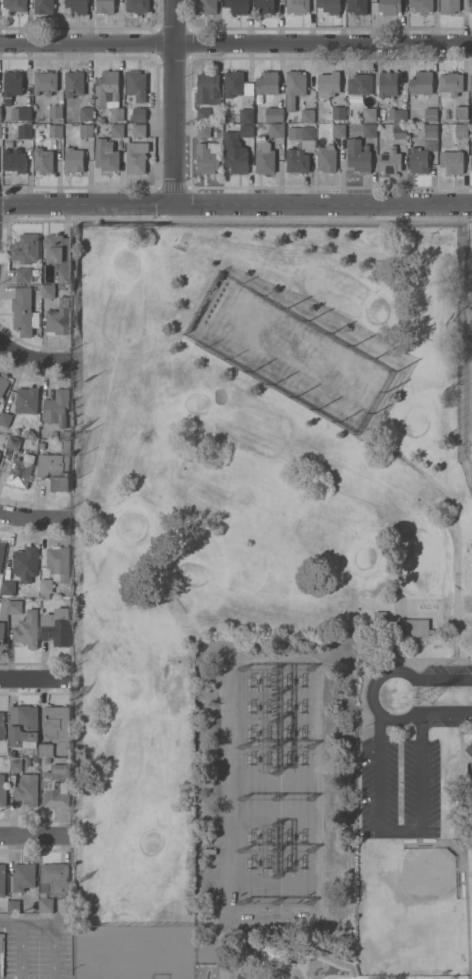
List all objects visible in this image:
building: (15, 5)
building: (78, 6)
building: (105, 6)
building: (138, 6)
building: (206, 6)
building: (265, 6)
building: (297, 6)
building: (329, 6)
building: (360, 6)
building: (389, 6)
building: (422, 6)
building: (449, 6)
building: (471, 6)
building: (44, 7)
building: (237, 7)
road: (236, 42)
building: (46, 82)
building: (421, 83)
building: (74, 84)
building: (233, 84)
building: (329, 84)
building: (359, 84)
building: (387, 84)
building: (451, 84)
building: (136, 85)
building: (12, 86)
building: (471, 86)
building: (207, 87)
building: (248, 88)
building: (265, 88)
building: (295, 88)
building: (109, 94)
road: (173, 101)
building: (55, 111)
building: (461, 112)
building: (339, 113)
building: (0, 114)
building: (21, 114)
building: (86, 114)
building: (139, 114)
building: (203, 114)
building: (275, 114)
building: (369, 114)
building: (430, 114)
building: (246, 115)
building: (307, 115)
building: (397, 115)
building: (101, 119)
building: (246, 130)
building: (339, 130)
building: (369, 130)
building: (460, 130)
building: (56, 131)
building: (86, 131)
building: (117, 131)
building: (134, 131)
building: (204, 131)
building: (277, 131)
building: (0, 132)
building: (24, 132)
building: (400, 132)
building: (470, 132)
building: (429, 136)
building: (301, 148)
building: (235, 153)
building: (106, 156)
building: (265, 156)
building: (359, 156)
building: (137, 157)
building: (209, 158)
building: (74, 160)
building: (327, 160)
building: (418, 160)
building: (14, 161)
building: (43, 161)
building: (390, 161)
building: (452, 161)
building: (471, 161)
road: (86, 203)
road: (322, 203)
building: (26, 249)
building: (59, 255)
building: (23, 275)
building: (48, 291)
building: (25, 313)
building: (58, 318)
road: (31, 356)
building: (3, 385)
building: (27, 400)
building: (57, 407)
building: (5, 418)
building: (54, 433)
building: (64, 435)
building: (14, 442)
building: (41, 446)
building: (0, 453)
building: (56, 467)
building: (22, 468)
road: (32, 517)
building: (1, 554)
building: (470, 556)
building: (59, 562)
building: (25, 563)
building: (46, 586)
building: (8, 587)
building: (31, 594)
park: (272, 602)
building: (15, 607)
building: (380, 617)
building: (57, 626)
building: (415, 627)
building: (27, 629)
building: (1, 631)
road: (31, 676)
road: (445, 678)
road: (370, 693)
power tower: (428, 695)
road: (447, 711)
building: (56, 722)
road: (421, 724)
building: (2, 725)
road: (378, 726)
building: (24, 728)
building: (470, 748)
building: (47, 750)
building: (12, 753)
building: (36, 760)
building: (27, 762)
building: (16, 764)
road: (378, 782)
road: (421, 783)
building: (56, 786)
power substation: (274, 789)
building: (28, 790)
building: (3, 791)
road: (399, 830)
road: (31, 835)
building: (209, 851)
building: (24, 876)
building: (55, 879)
building: (2, 880)
building: (46, 905)
building: (14, 906)
road: (30, 922)
building: (1, 942)
road: (19, 950)
road: (52, 950)
building: (276, 954)

